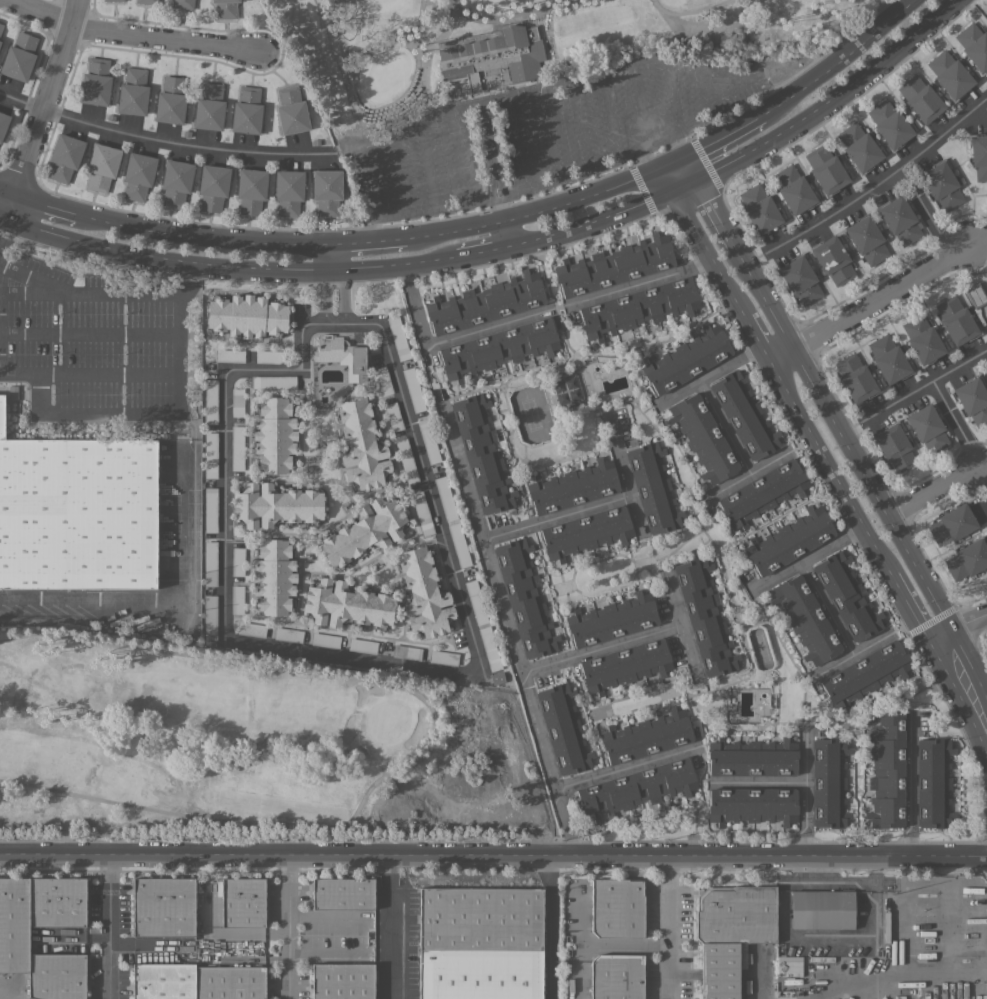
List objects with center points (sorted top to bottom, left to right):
building: (111, 0)
building: (147, 1)
park: (983, 3)
building: (182, 4)
building: (225, 9)
road: (690, 10)
road: (501, 15)
building: (1, 26)
road: (443, 31)
road: (128, 34)
park: (522, 40)
building: (973, 45)
road: (662, 54)
building: (19, 56)
building: (494, 56)
road: (836, 56)
building: (949, 74)
road: (717, 81)
building: (95, 82)
building: (133, 92)
road: (671, 92)
building: (920, 99)
building: (170, 100)
road: (641, 103)
building: (209, 107)
road: (376, 108)
building: (247, 110)
building: (290, 110)
road: (40, 111)
road: (611, 114)
building: (3, 123)
road: (582, 123)
building: (889, 123)
parking lot: (529, 130)
parking lot: (542, 131)
road: (548, 133)
road: (719, 135)
road: (163, 142)
road: (519, 142)
road: (683, 142)
building: (858, 147)
road: (753, 153)
road: (458, 156)
building: (979, 156)
building: (64, 157)
road: (648, 159)
road: (427, 163)
building: (101, 166)
building: (825, 169)
road: (396, 171)
building: (138, 175)
road: (493, 175)
road: (364, 179)
building: (176, 182)
road: (879, 182)
building: (942, 185)
road: (8, 186)
building: (213, 187)
building: (793, 189)
building: (251, 190)
building: (288, 191)
building: (326, 191)
road: (42, 200)
road: (435, 208)
building: (759, 208)
road: (541, 210)
road: (924, 213)
building: (899, 220)
road: (2, 221)
road: (2, 226)
road: (375, 228)
road: (198, 235)
road: (367, 240)
building: (867, 240)
road: (486, 254)
building: (833, 260)
building: (614, 266)
road: (229, 269)
building: (800, 279)
building: (976, 294)
road: (84, 297)
road: (344, 298)
road: (322, 299)
building: (484, 303)
road: (868, 303)
building: (638, 307)
road: (529, 313)
building: (247, 316)
road: (0, 318)
building: (955, 320)
road: (89, 334)
building: (398, 337)
building: (922, 339)
building: (498, 348)
building: (230, 355)
building: (269, 356)
building: (343, 356)
building: (888, 358)
building: (686, 359)
road: (109, 373)
road: (709, 375)
building: (855, 378)
building: (383, 380)
building: (273, 381)
road: (924, 386)
building: (413, 389)
building: (566, 390)
road: (816, 393)
road: (400, 395)
building: (973, 399)
building: (211, 401)
building: (237, 402)
road: (795, 406)
road: (144, 412)
building: (744, 414)
building: (393, 416)
road: (954, 424)
road: (723, 427)
building: (927, 428)
building: (274, 435)
building: (703, 438)
building: (428, 441)
building: (362, 445)
building: (237, 447)
building: (894, 447)
building: (481, 453)
building: (210, 455)
building: (406, 460)
road: (746, 472)
road: (626, 485)
building: (572, 487)
building: (653, 488)
road: (931, 490)
building: (762, 493)
building: (445, 498)
building: (276, 505)
building: (210, 509)
building: (77, 513)
building: (422, 513)
road: (555, 517)
building: (952, 524)
building: (364, 531)
building: (586, 532)
building: (789, 540)
building: (459, 545)
road: (805, 555)
building: (967, 559)
building: (237, 561)
building: (210, 563)
building: (274, 577)
building: (424, 593)
building: (846, 596)
building: (524, 598)
building: (237, 599)
building: (475, 602)
building: (347, 604)
road: (825, 605)
building: (210, 617)
building: (704, 617)
building: (611, 619)
building: (806, 619)
road: (964, 624)
road: (679, 628)
building: (251, 629)
road: (508, 632)
building: (288, 634)
building: (325, 640)
road: (865, 643)
building: (362, 645)
building: (489, 648)
road: (599, 649)
building: (406, 652)
building: (443, 657)
building: (625, 665)
building: (864, 674)
road: (964, 678)
road: (986, 717)
building: (563, 728)
building: (646, 736)
road: (433, 738)
park: (211, 745)
building: (752, 757)
building: (886, 767)
road: (626, 768)
road: (757, 781)
building: (828, 782)
building: (933, 783)
building: (636, 788)
road: (909, 790)
road: (802, 794)
building: (752, 804)
road: (493, 857)
road: (388, 861)
road: (944, 872)
building: (343, 893)
building: (56, 902)
building: (243, 902)
building: (163, 906)
building: (616, 907)
road: (947, 907)
building: (822, 909)
building: (14, 924)
road: (108, 928)
road: (287, 928)
road: (670, 928)
road: (905, 930)
road: (389, 932)
building: (730, 932)
road: (824, 939)
building: (480, 943)
road: (627, 943)
building: (741, 955)
road: (932, 973)
building: (56, 976)
building: (616, 976)
building: (163, 981)
building: (342, 981)
building: (229, 983)
road: (4, 992)

